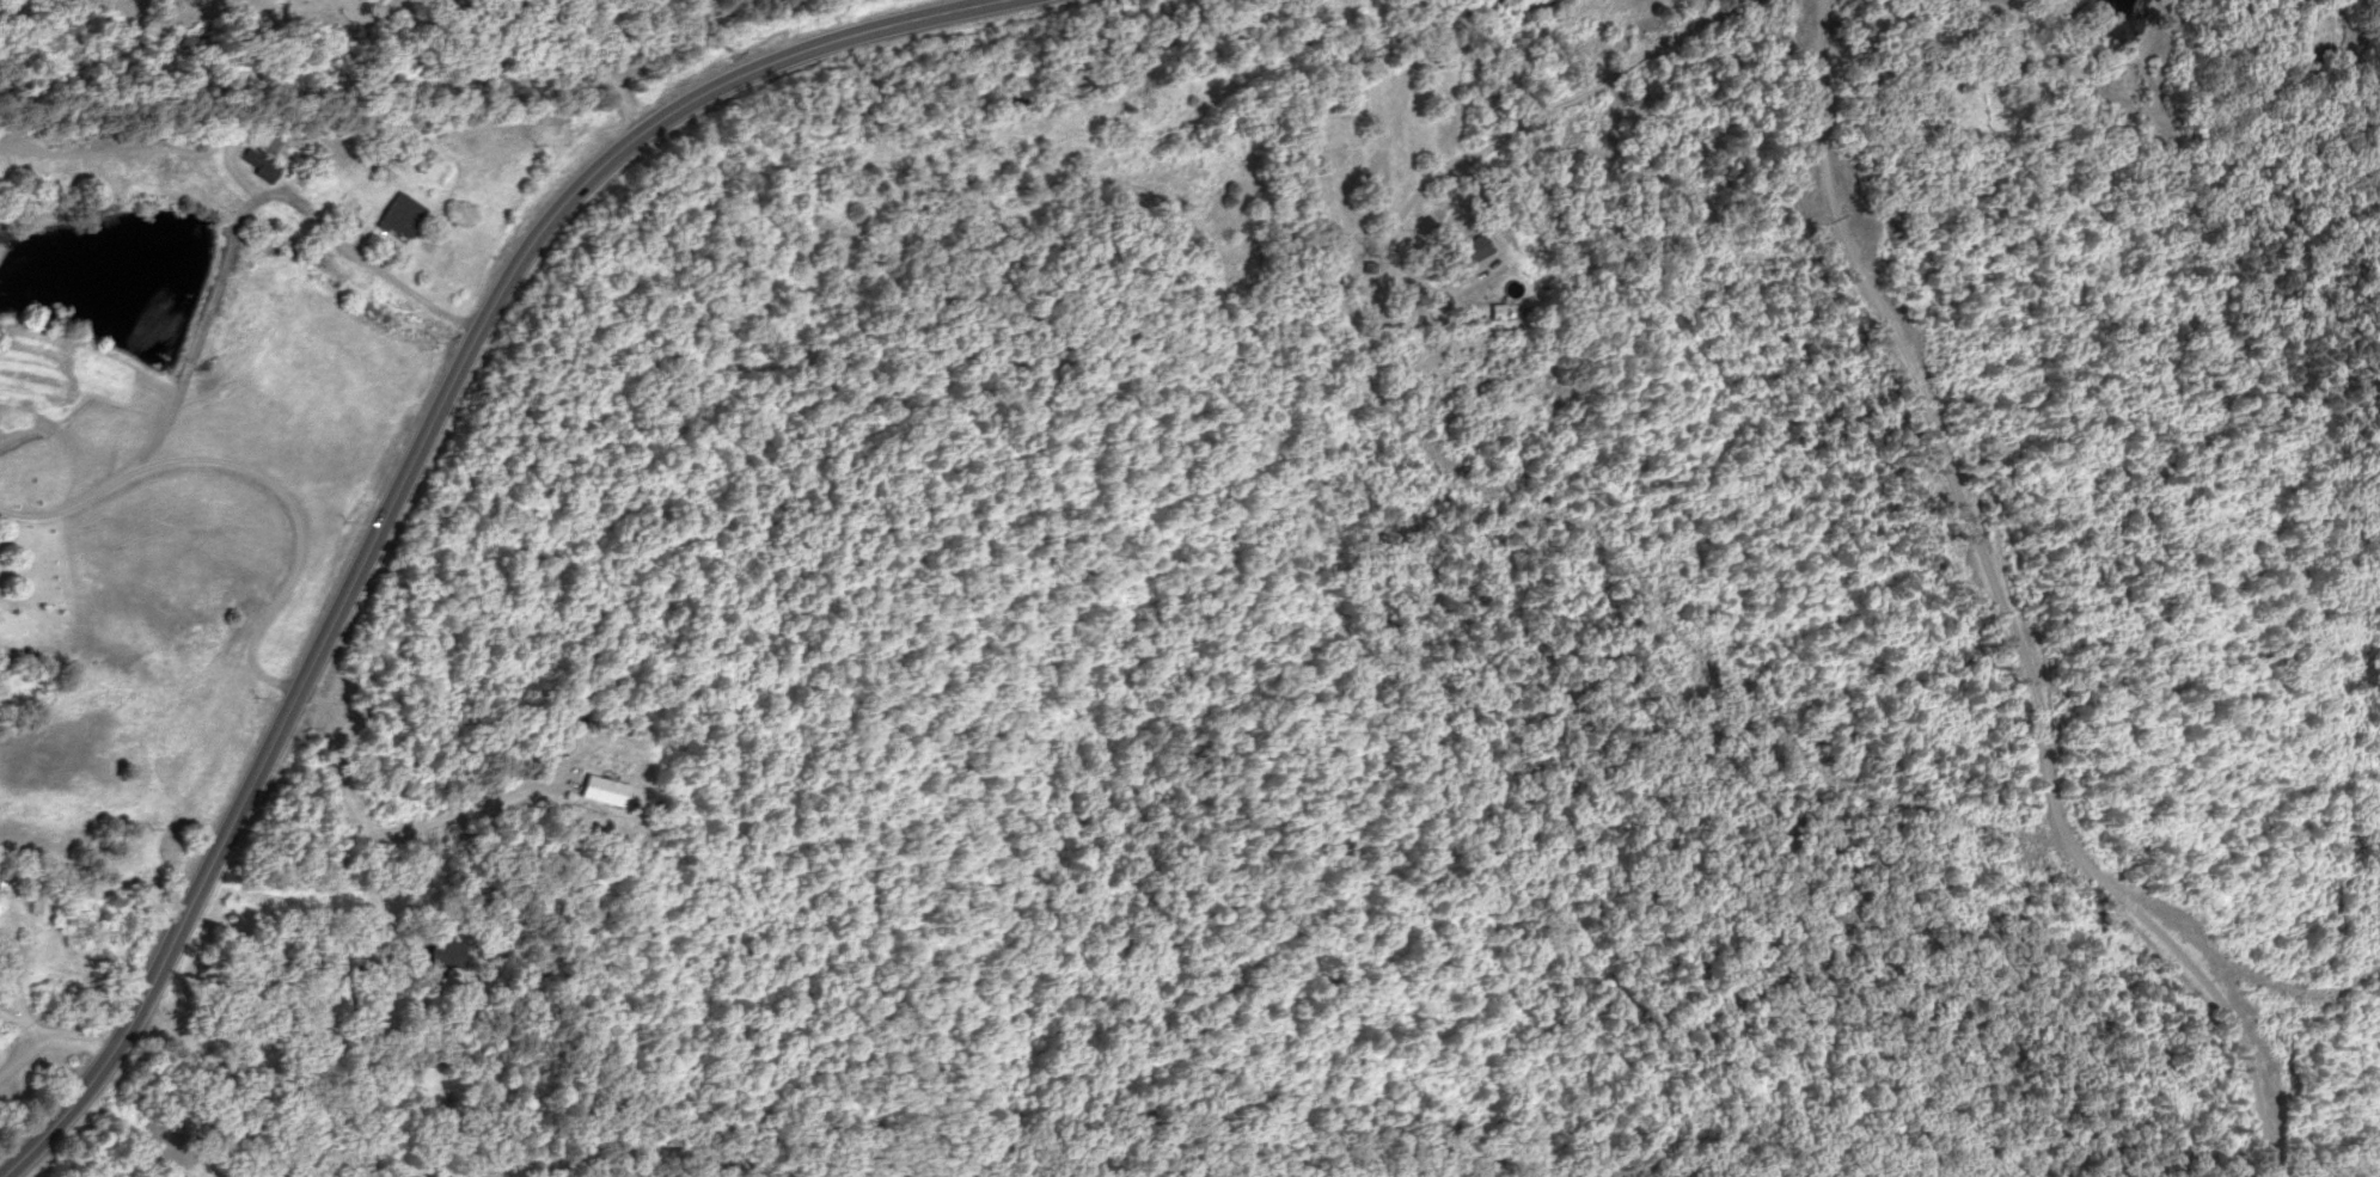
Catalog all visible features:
building: (262, 159)
building: (400, 216)
building: (1476, 249)
building: (1500, 312)
road: (411, 470)
building: (2, 890)
building: (448, 955)
road: (247, 1087)

